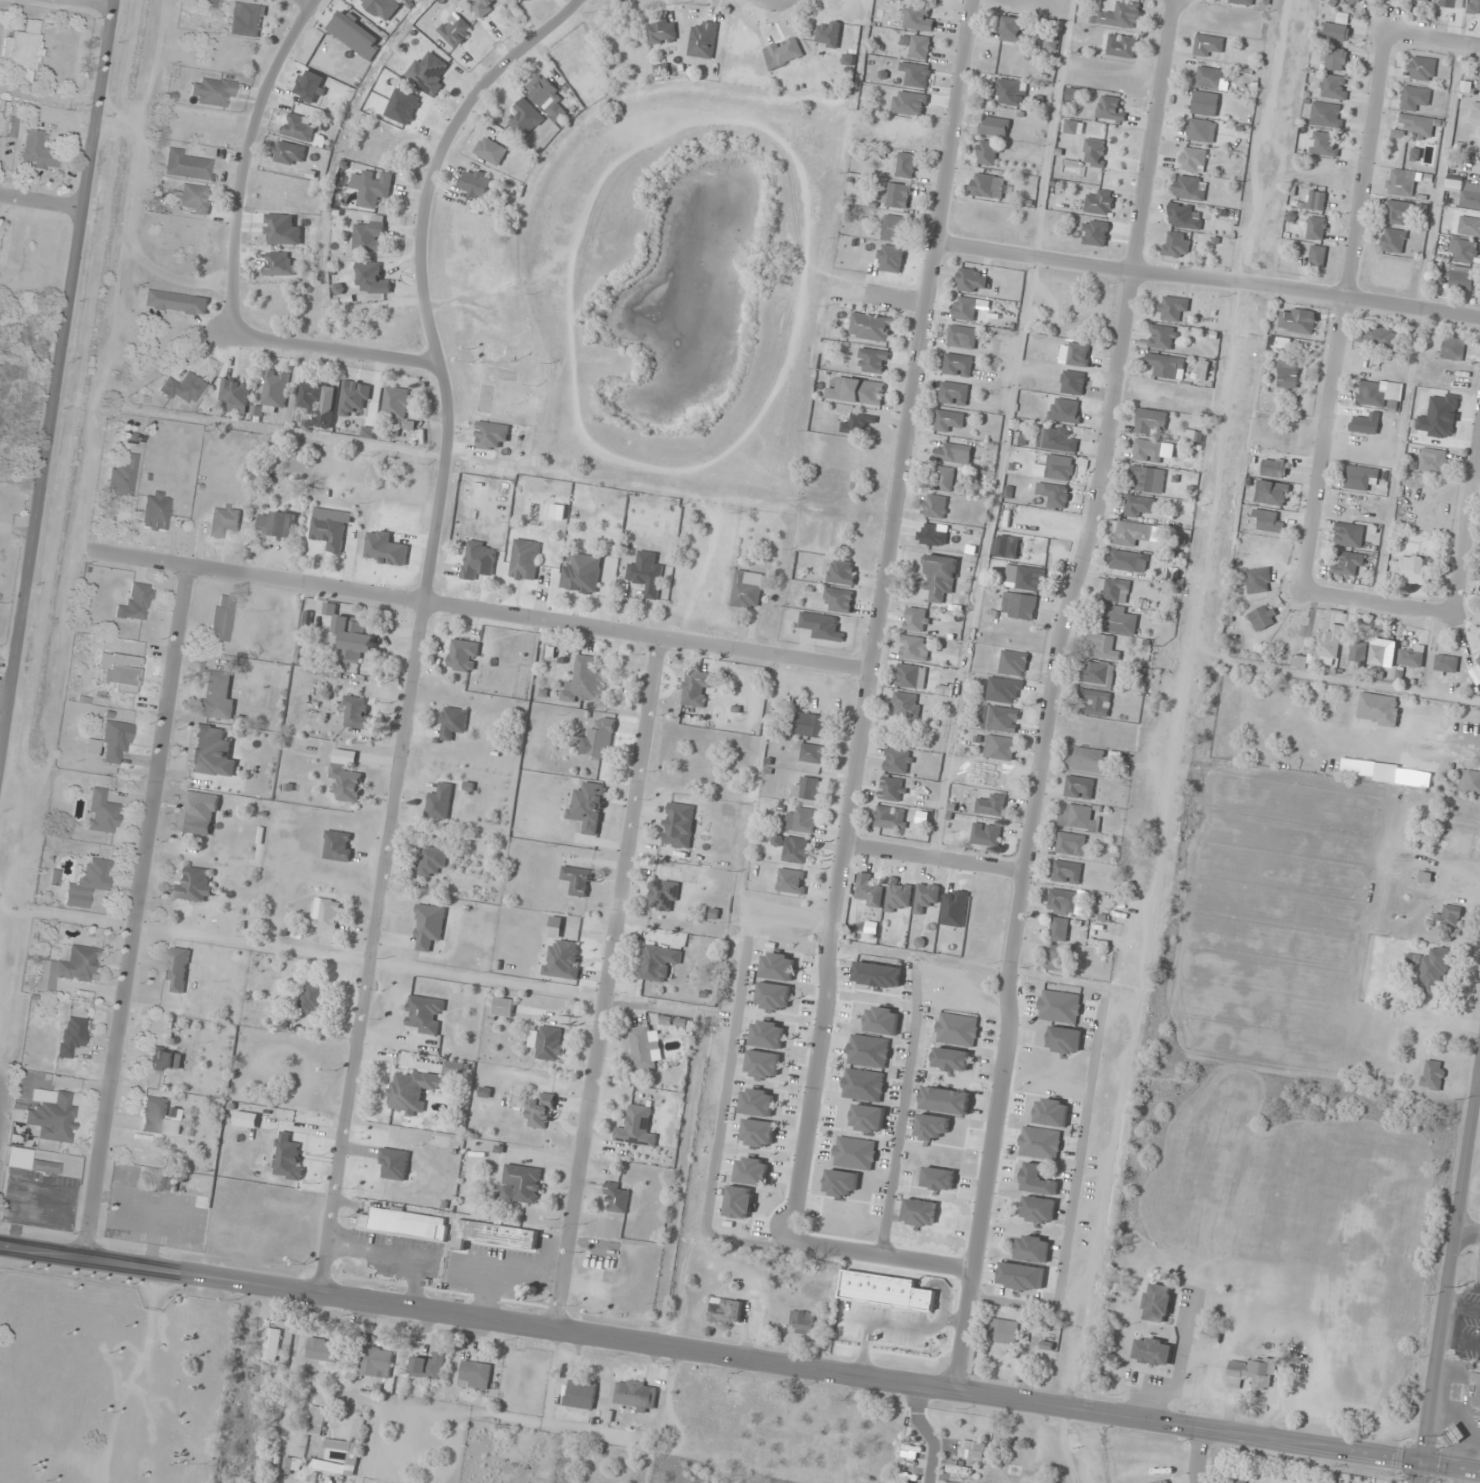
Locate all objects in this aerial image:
building: (523, 0)
building: (1422, 1)
building: (1241, 2)
building: (1351, 2)
building: (210, 3)
building: (485, 6)
building: (1121, 16)
building: (918, 19)
building: (247, 20)
building: (455, 31)
building: (1013, 31)
building: (355, 33)
building: (661, 33)
building: (1336, 33)
building: (827, 35)
building: (702, 40)
road: (1434, 42)
building: (1049, 44)
building: (1121, 46)
building: (1208, 46)
building: (919, 47)
building: (23, 50)
building: (783, 52)
building: (1336, 59)
building: (1422, 69)
building: (427, 74)
building: (1212, 78)
building: (1334, 87)
building: (1479, 88)
building: (213, 92)
building: (1010, 93)
building: (546, 97)
building: (1414, 98)
building: (1205, 104)
building: (1110, 110)
building: (1474, 113)
building: (1326, 115)
building: (994, 127)
building: (1419, 127)
building: (12, 128)
building: (299, 128)
building: (1071, 128)
building: (1200, 131)
building: (541, 135)
building: (1325, 144)
building: (38, 151)
building: (490, 151)
building: (289, 153)
building: (987, 153)
building: (1094, 153)
road: (247, 159)
building: (1192, 160)
building: (187, 165)
building: (905, 166)
building: (475, 183)
building: (1401, 183)
building: (988, 187)
building: (372, 188)
building: (1190, 188)
building: (1467, 194)
building: (896, 197)
building: (194, 198)
building: (1315, 201)
road: (41, 202)
building: (1099, 203)
building: (1395, 213)
building: (1182, 217)
building: (1469, 226)
building: (1316, 229)
building: (895, 230)
building: (282, 231)
building: (369, 236)
building: (1394, 241)
building: (1176, 245)
building: (1463, 251)
building: (1317, 257)
road: (1035, 259)
building: (279, 265)
building: (371, 279)
building: (1462, 279)
building: (971, 281)
building: (338, 291)
road: (1306, 291)
building: (176, 303)
building: (1172, 308)
building: (964, 309)
road: (1343, 313)
building: (1297, 321)
building: (872, 327)
building: (962, 337)
building: (1162, 338)
building: (1279, 344)
road: (339, 349)
building: (1454, 349)
building: (874, 361)
building: (958, 365)
building: (1166, 366)
building: (1288, 368)
building: (183, 389)
building: (275, 390)
building: (863, 392)
building: (953, 394)
building: (1379, 394)
building: (235, 395)
building: (354, 398)
building: (314, 404)
road: (61, 406)
road: (909, 421)
building: (948, 421)
building: (1151, 423)
building: (858, 424)
building: (491, 435)
building: (1193, 436)
building: (1056, 440)
building: (1147, 451)
building: (947, 453)
building: (1430, 462)
building: (1060, 468)
building: (123, 476)
building: (1359, 478)
building: (943, 479)
building: (1147, 480)
road: (1100, 482)
building: (1271, 493)
building: (1053, 496)
building: (935, 507)
building: (1138, 507)
building: (155, 511)
building: (223, 521)
building: (1269, 522)
building: (277, 524)
building: (328, 532)
building: (1135, 533)
building: (1348, 535)
road: (1468, 542)
road: (146, 559)
building: (478, 560)
building: (525, 560)
building: (1128, 561)
building: (1349, 564)
building: (1409, 570)
building: (842, 572)
building: (581, 574)
building: (939, 576)
building: (646, 577)
building: (1024, 578)
building: (1259, 580)
building: (747, 589)
building: (1114, 589)
building: (1478, 590)
building: (838, 600)
building: (137, 602)
road: (1379, 604)
building: (1018, 606)
building: (1263, 617)
building: (222, 618)
road: (422, 618)
building: (917, 620)
road: (529, 621)
building: (1120, 621)
building: (821, 626)
building: (351, 636)
building: (1102, 647)
building: (1327, 647)
building: (915, 648)
building: (1358, 653)
building: (1382, 653)
building: (463, 656)
building: (1412, 657)
building: (1299, 661)
building: (1013, 663)
building: (1446, 664)
building: (125, 673)
building: (1097, 675)
building: (911, 677)
building: (585, 681)
building: (696, 688)
building: (1003, 690)
building: (217, 697)
building: (1096, 703)
building: (906, 705)
building: (1378, 709)
building: (356, 713)
building: (1000, 719)
building: (453, 722)
building: (811, 725)
building: (599, 739)
building: (115, 741)
building: (999, 748)
building: (211, 752)
building: (813, 754)
building: (1087, 760)
building: (897, 761)
building: (1466, 776)
building: (346, 782)
building: (1079, 788)
building: (808, 789)
building: (892, 789)
building: (440, 802)
building: (991, 805)
building: (102, 812)
building: (199, 813)
building: (891, 818)
building: (1078, 819)
building: (801, 820)
building: (679, 825)
building: (986, 834)
building: (1455, 843)
building: (1071, 844)
building: (338, 846)
building: (796, 850)
road: (930, 857)
building: (432, 861)
building: (1067, 872)
building: (577, 880)
building: (89, 881)
building: (791, 881)
building: (196, 885)
building: (868, 891)
building: (663, 895)
building: (898, 895)
building: (926, 897)
building: (1062, 902)
road: (139, 913)
building: (327, 914)
building: (1451, 915)
building: (429, 926)
building: (1059, 929)
building: (1062, 958)
building: (658, 963)
building: (778, 966)
building: (68, 968)
building: (178, 969)
building: (1431, 972)
building: (878, 975)
road: (609, 985)
building: (773, 996)
building: (312, 998)
building: (503, 1007)
building: (1059, 1007)
building: (424, 1015)
building: (882, 1020)
building: (958, 1030)
building: (72, 1035)
building: (768, 1035)
building: (1064, 1040)
road: (817, 1041)
building: (547, 1043)
building: (643, 1048)
building: (868, 1051)
building: (165, 1059)
building: (951, 1060)
building: (763, 1065)
building: (456, 1068)
building: (1433, 1075)
building: (863, 1085)
building: (412, 1091)
building: (945, 1100)
building: (757, 1102)
road: (900, 1107)
building: (541, 1111)
building: (1052, 1112)
building: (52, 1115)
building: (159, 1117)
building: (868, 1119)
building: (636, 1127)
building: (758, 1133)
building: (1040, 1143)
building: (855, 1153)
building: (29, 1162)
building: (753, 1171)
building: (128, 1174)
road: (983, 1175)
building: (938, 1179)
building: (1038, 1180)
building: (522, 1184)
building: (165, 1185)
road: (1071, 1195)
building: (617, 1197)
building: (740, 1202)
building: (1038, 1210)
building: (920, 1213)
building: (125, 1215)
building: (200, 1221)
building: (400, 1224)
road: (1469, 1231)
building: (126, 1233)
building: (493, 1235)
building: (1032, 1249)
road: (879, 1253)
road: (1449, 1283)
building: (1158, 1303)
building: (725, 1311)
building: (801, 1322)
building: (1004, 1331)
building: (270, 1345)
building: (322, 1350)
building: (1153, 1352)
road: (740, 1357)
building: (377, 1363)
building: (429, 1367)
building: (1250, 1374)
building: (475, 1376)
building: (581, 1394)
building: (636, 1395)
building: (1474, 1396)
building: (317, 1421)
road: (918, 1433)
building: (1454, 1434)
building: (344, 1448)
building: (972, 1450)
road: (1198, 1457)
traffic signals: (1423, 1462)
building: (292, 1464)
building: (959, 1470)
building: (1236, 1479)
building: (944, 1482)
building: (1167, 1482)

